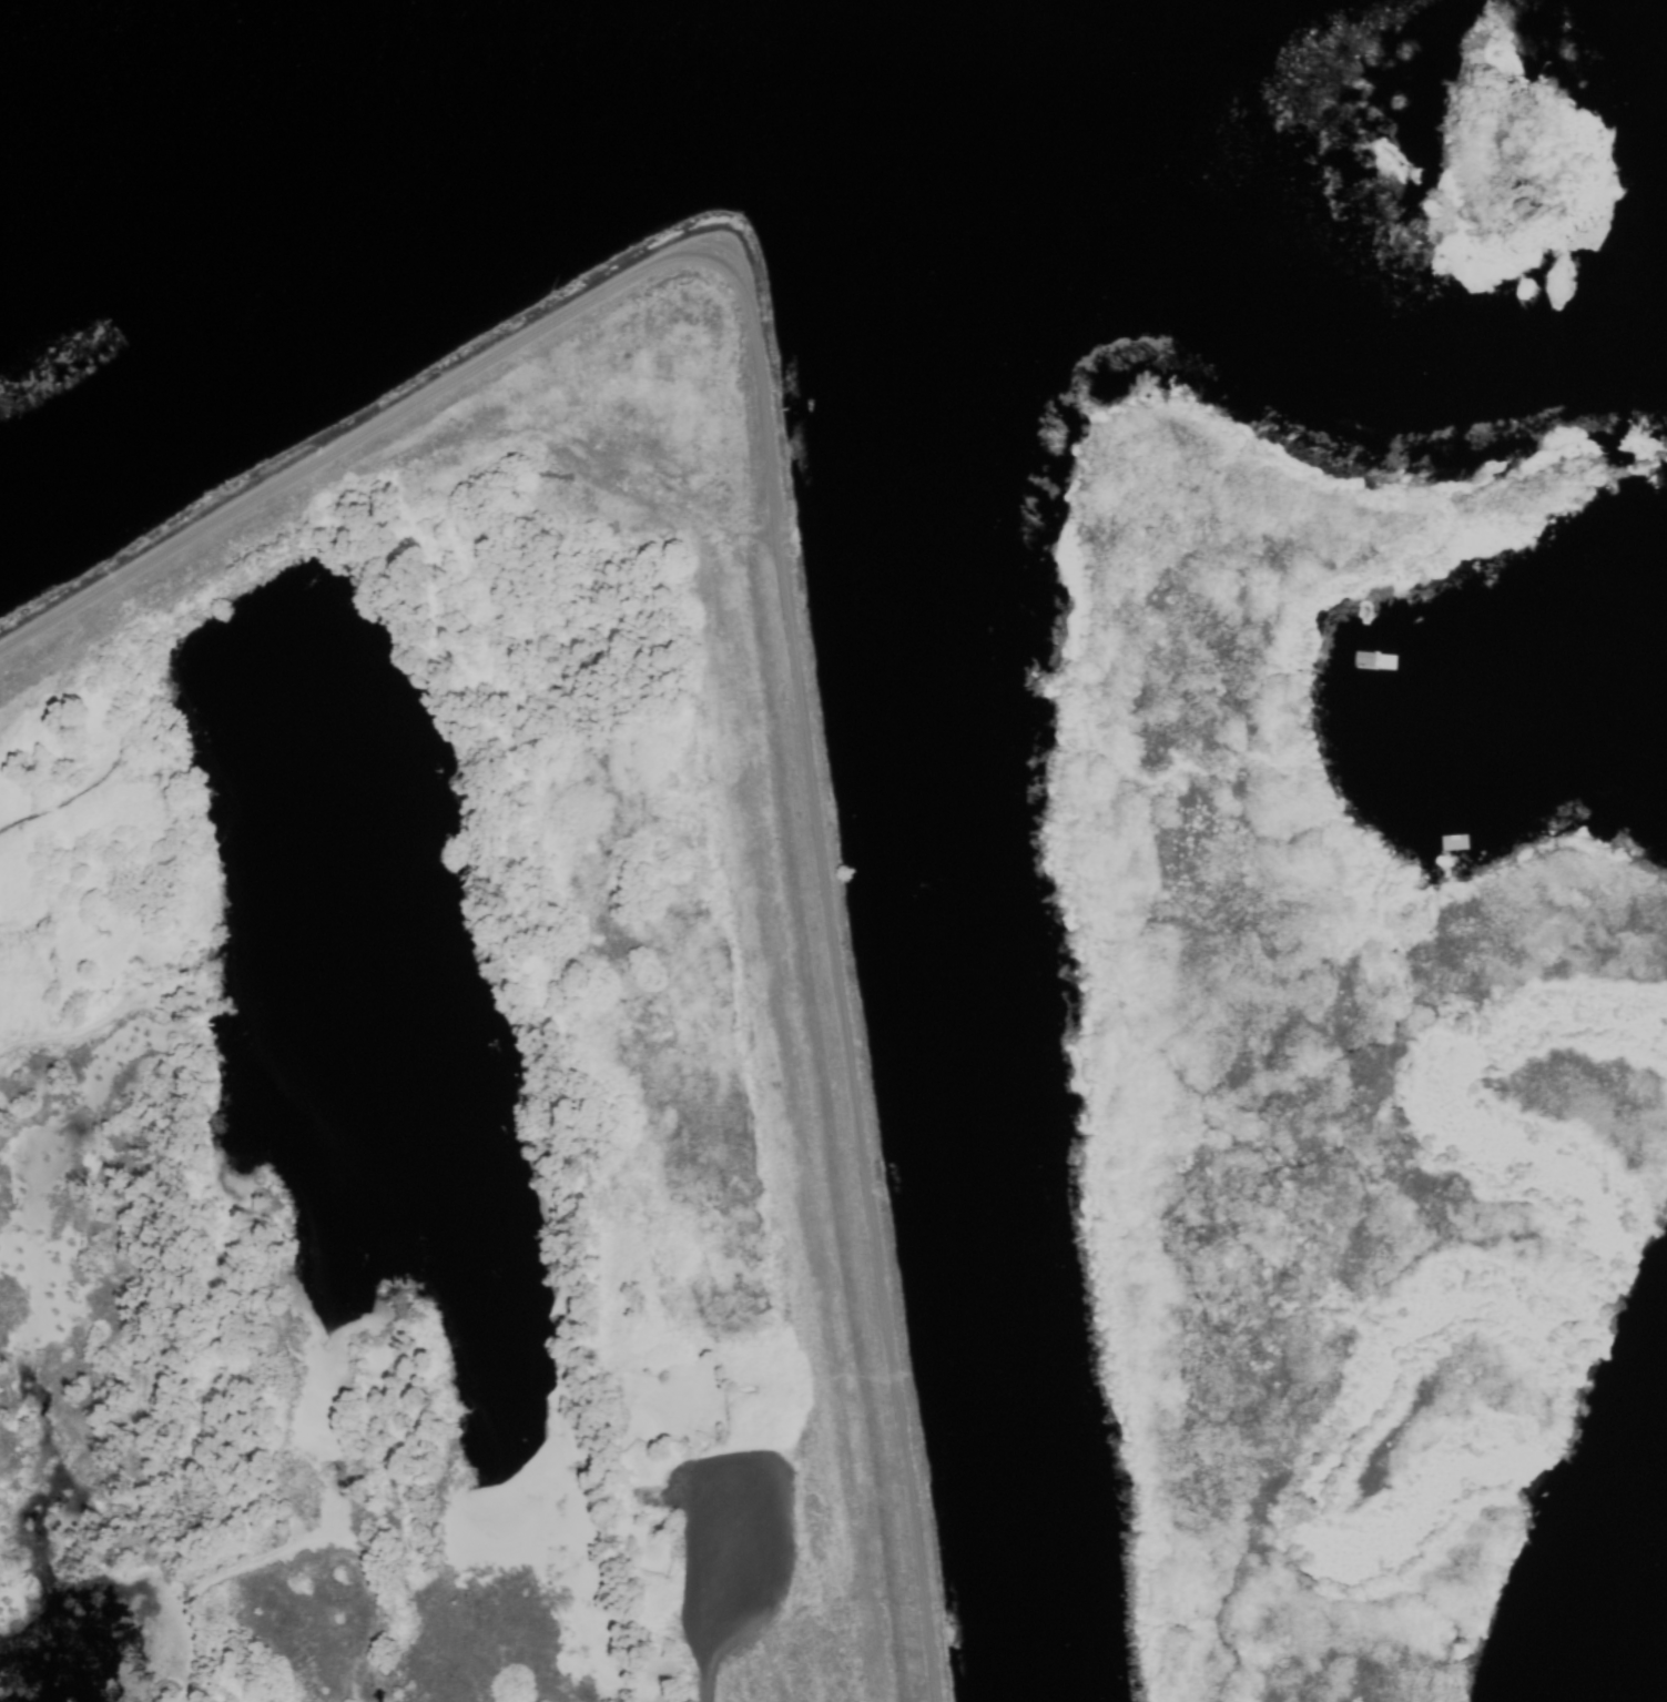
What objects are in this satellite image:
building: (1378, 656)
crop: (454, 1081)
road: (913, 1579)

